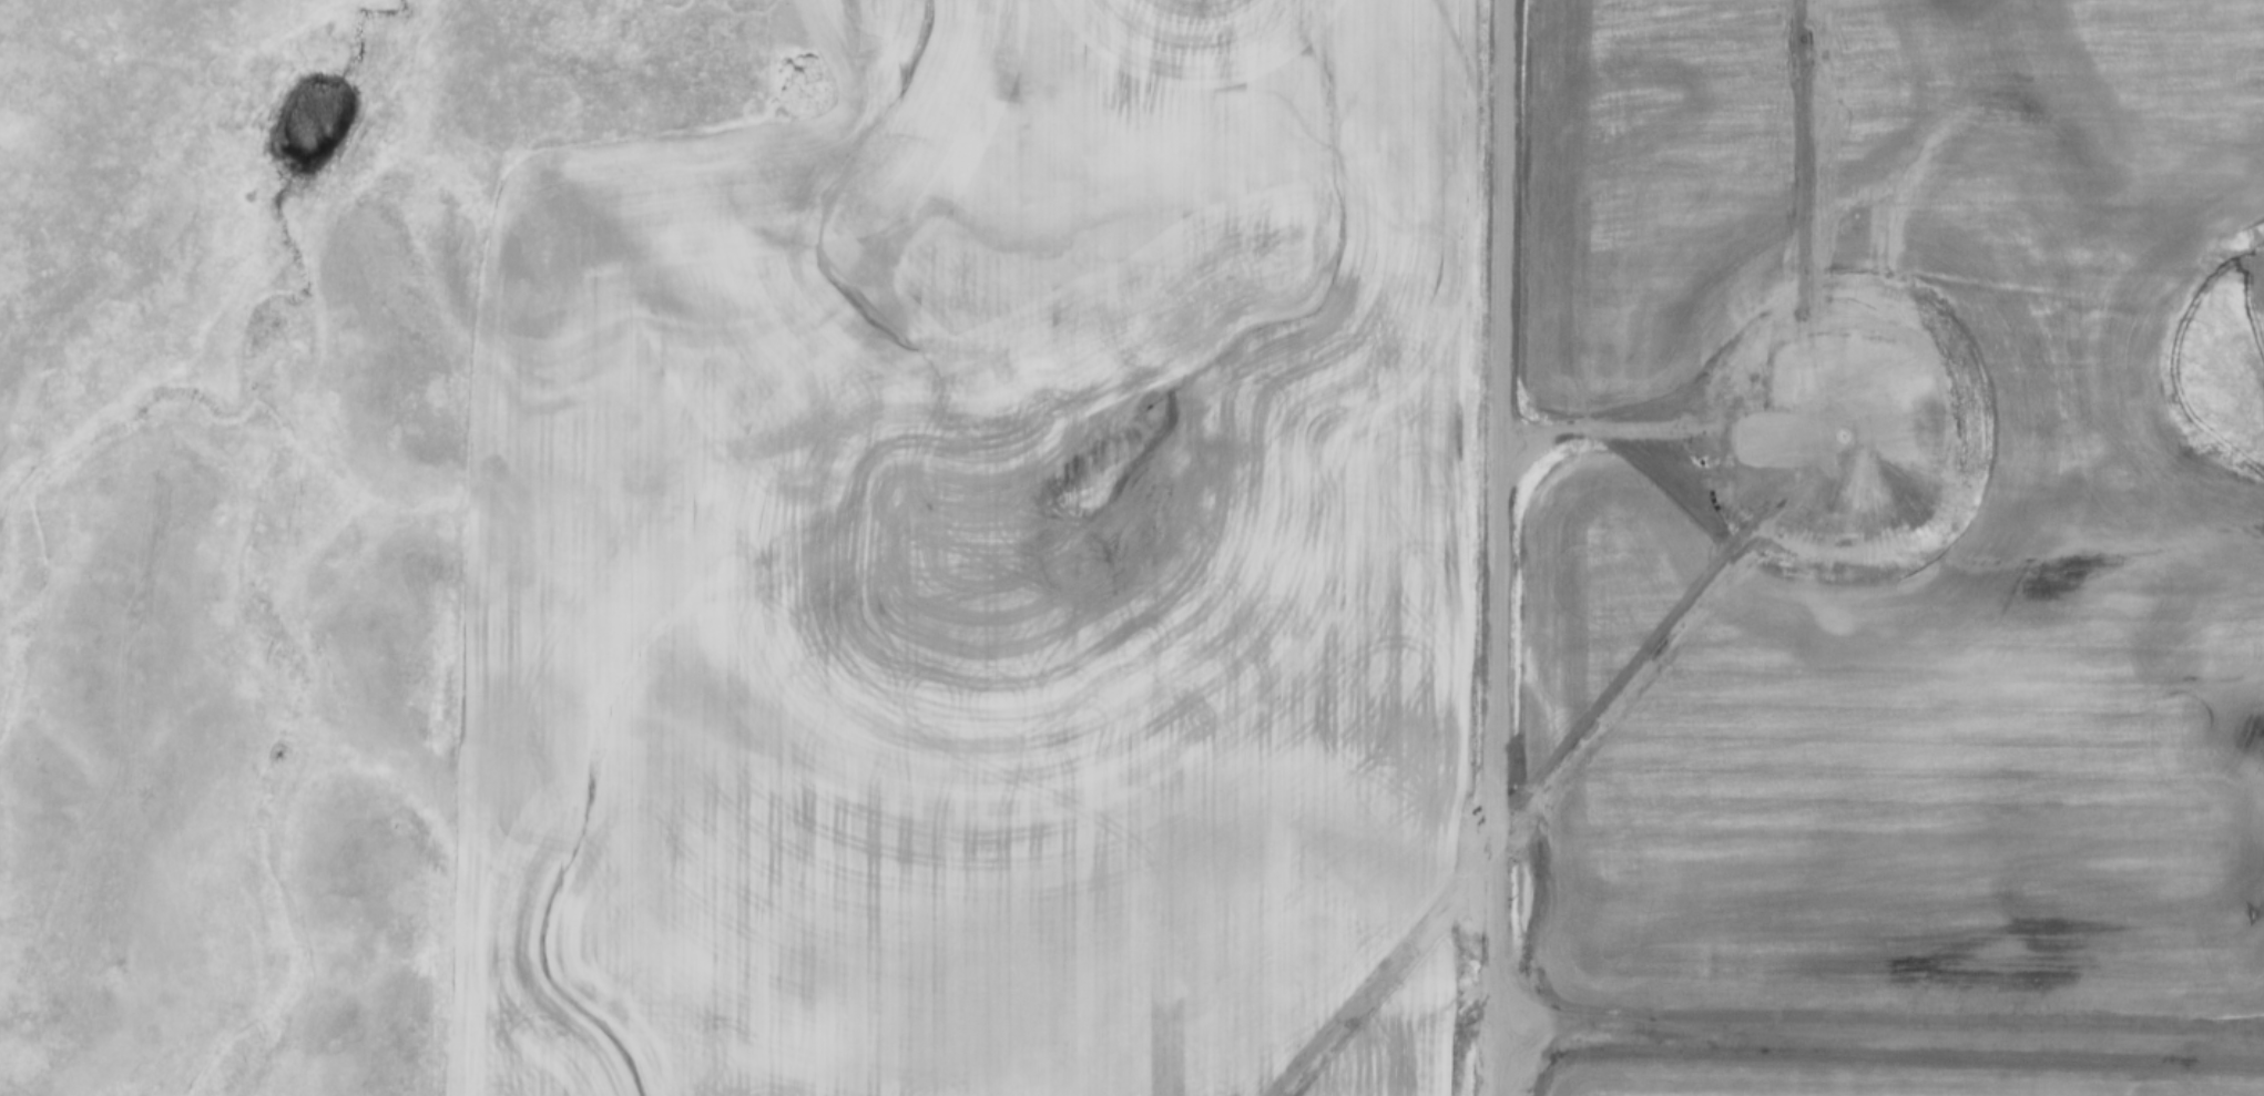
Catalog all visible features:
wind turbine: (1844, 434)

